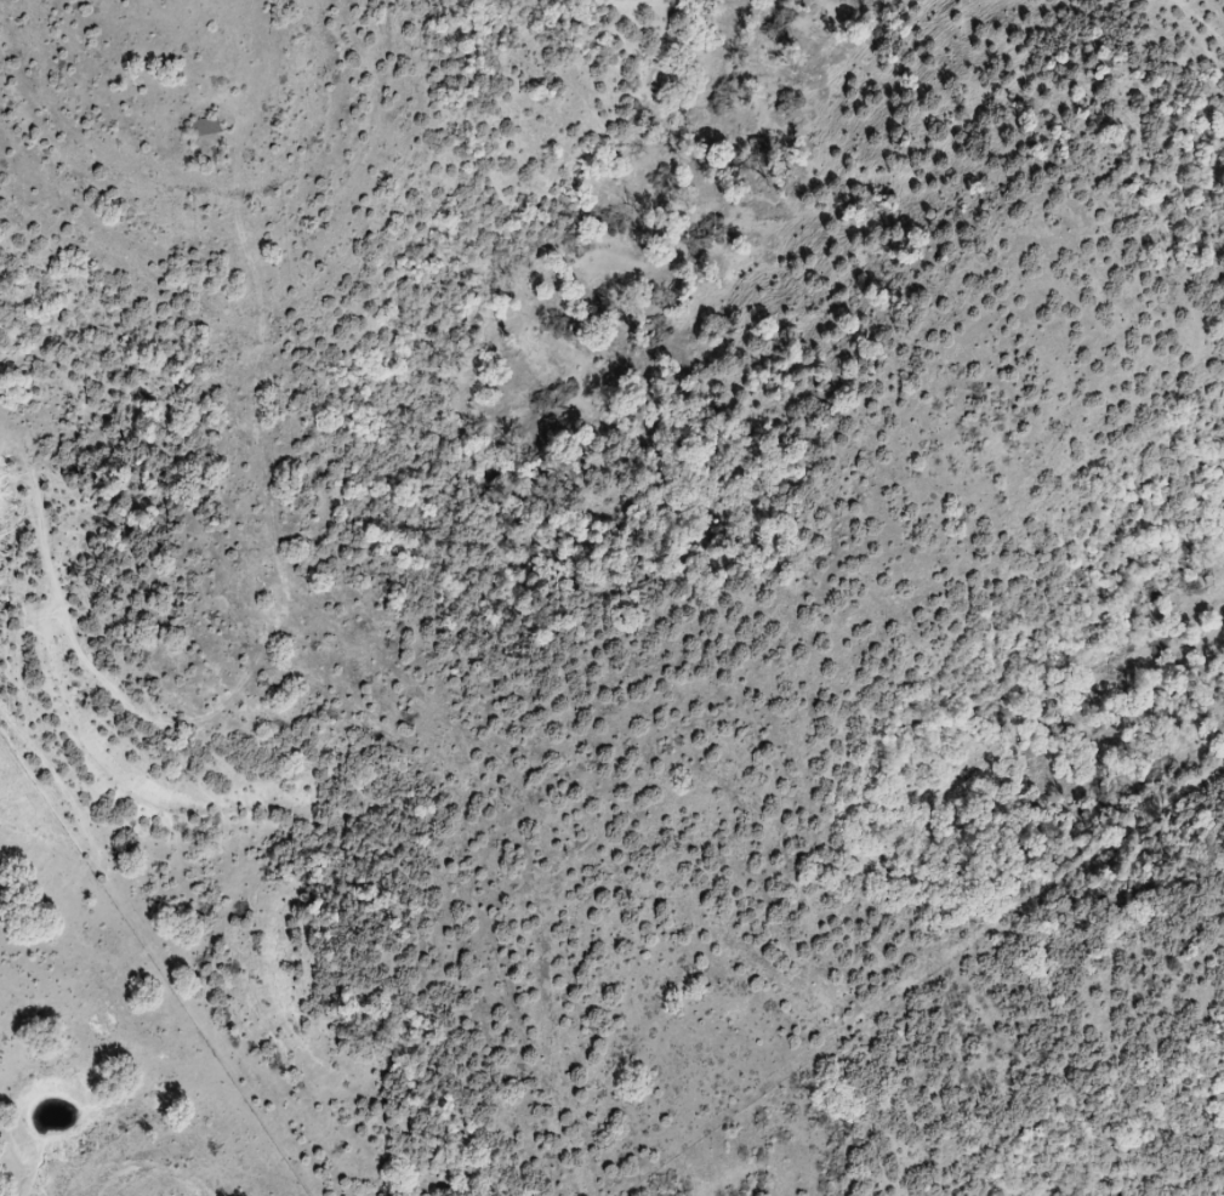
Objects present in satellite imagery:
building: (205, 127)
road: (245, 474)

